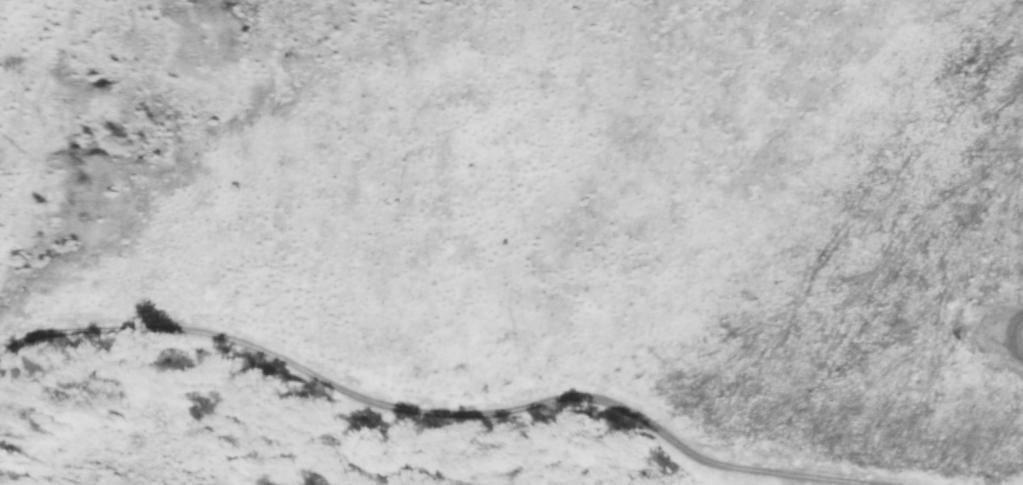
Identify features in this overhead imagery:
road: (1019, 338)
road: (407, 412)

